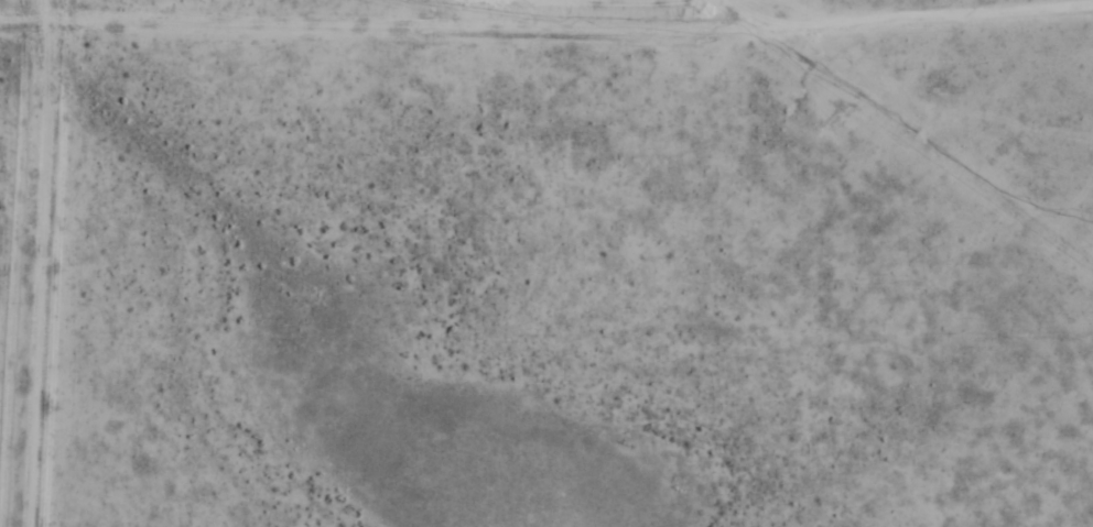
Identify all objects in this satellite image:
road: (907, 15)

